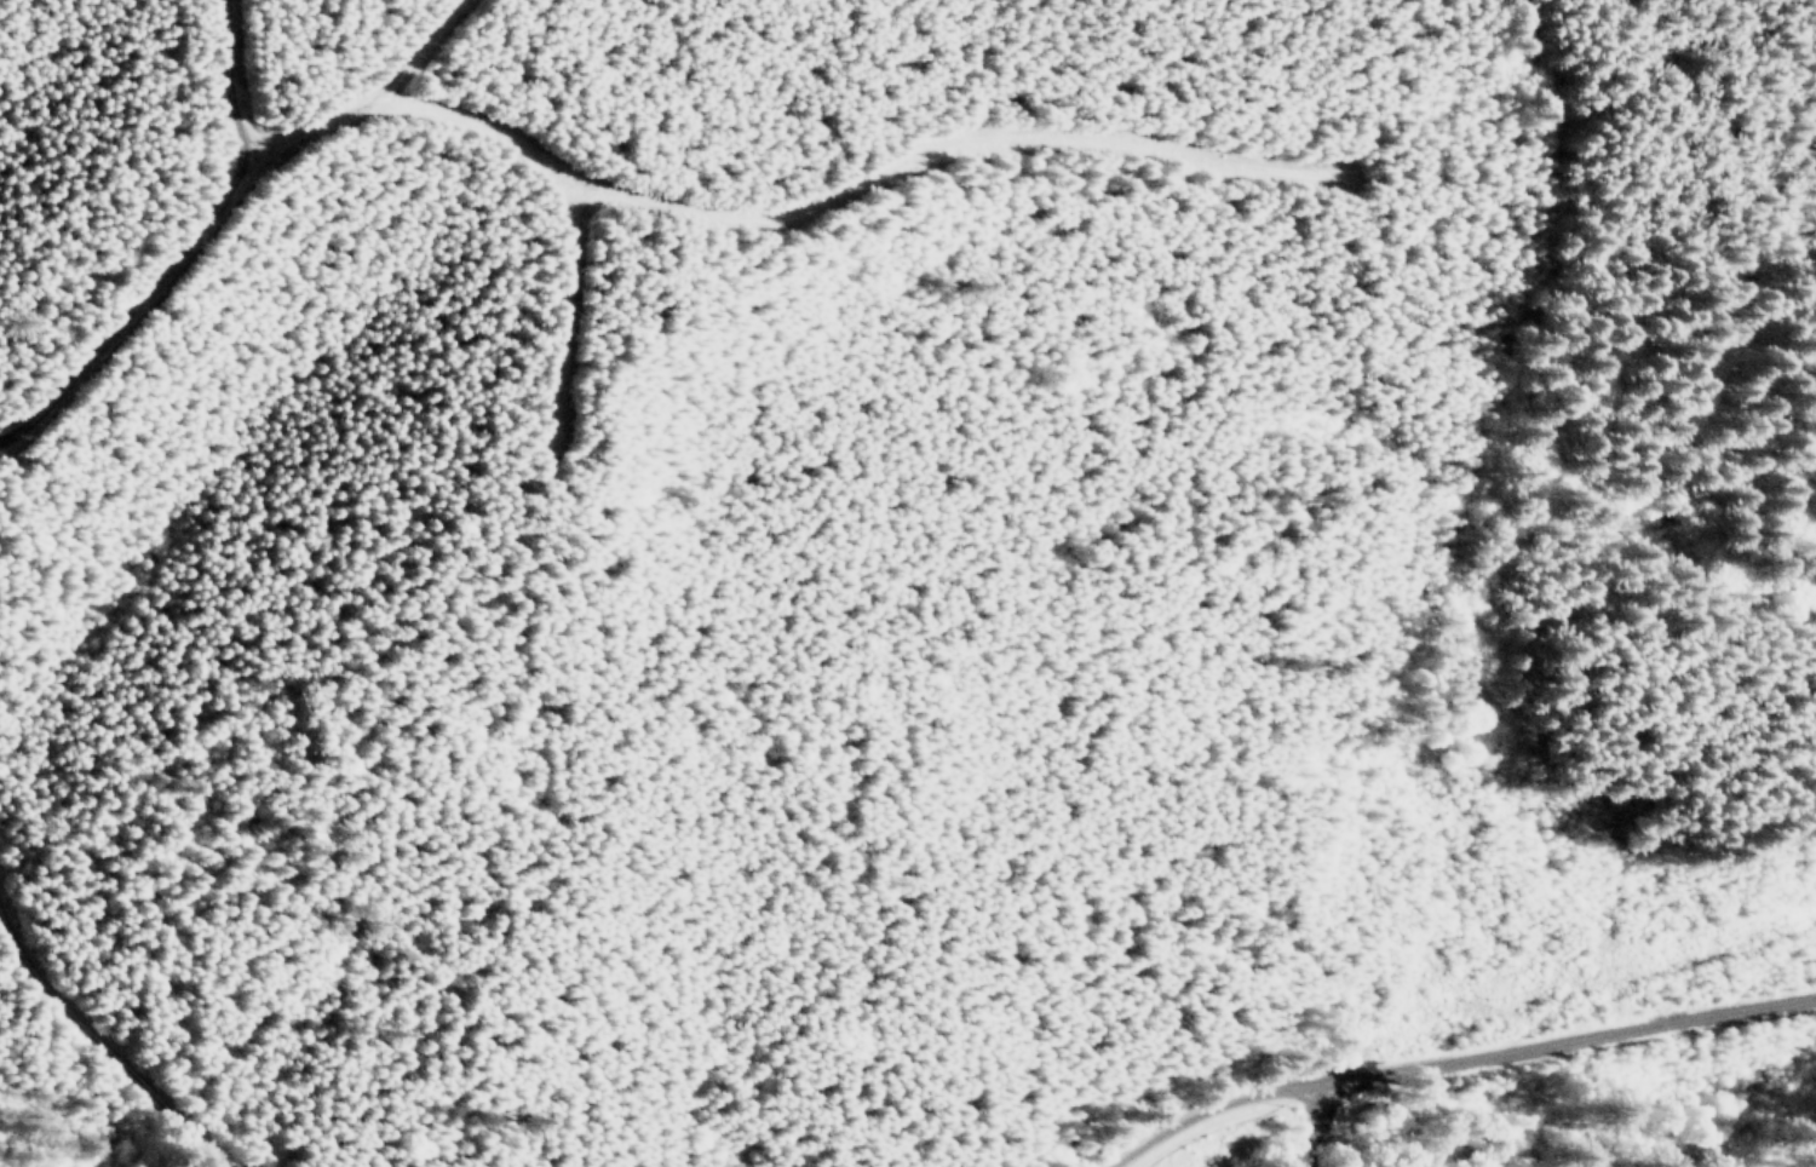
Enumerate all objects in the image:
road: (109, 1045)
road: (1453, 1058)

